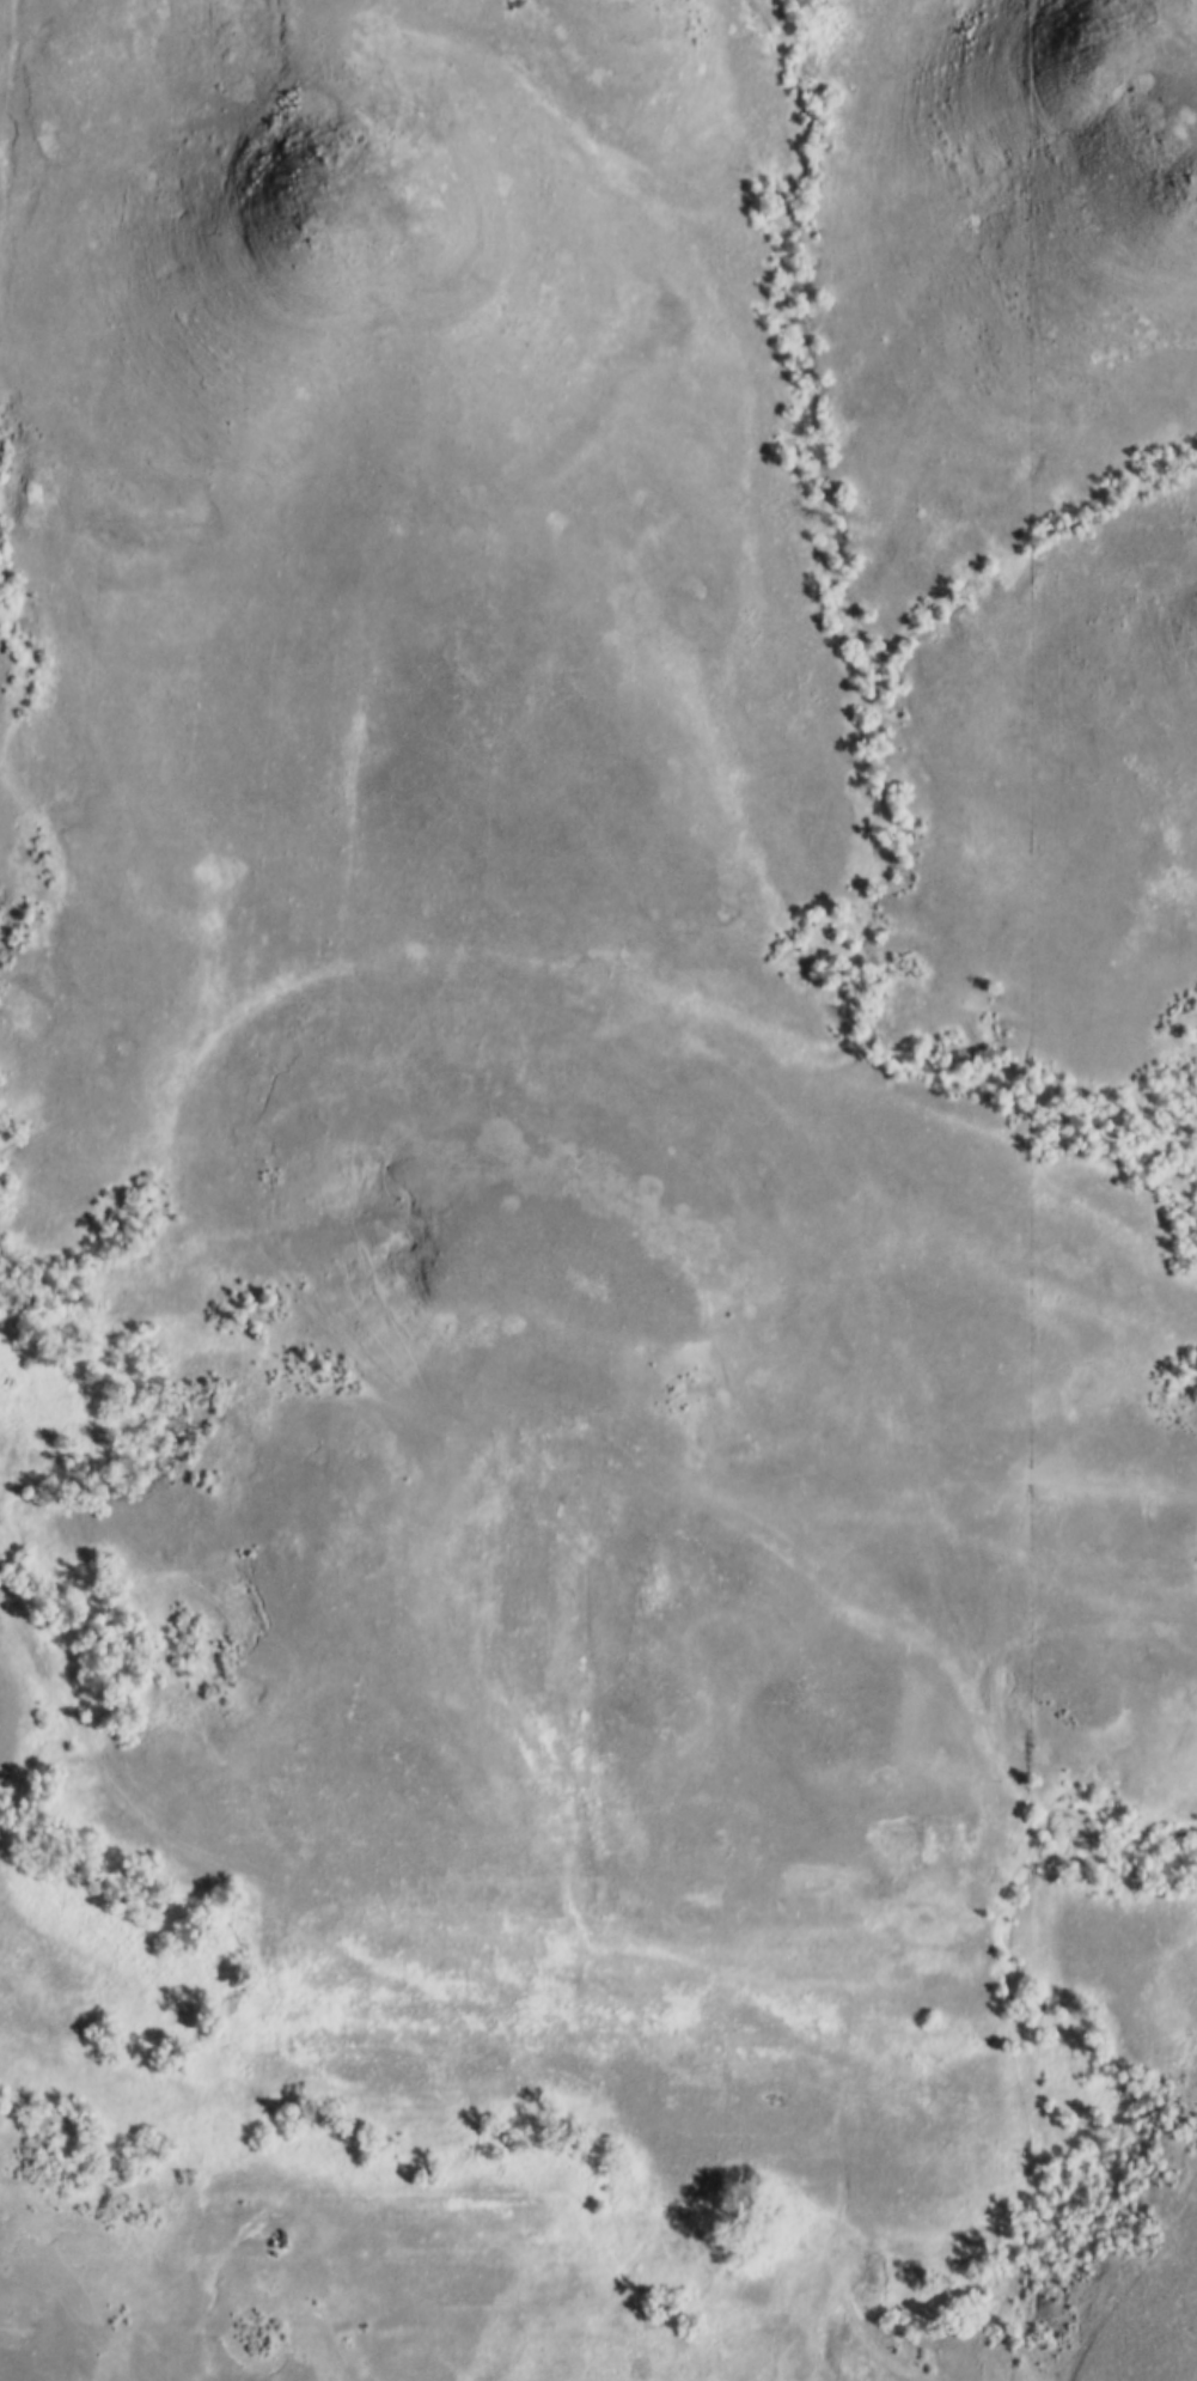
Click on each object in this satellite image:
road: (849, 2308)

